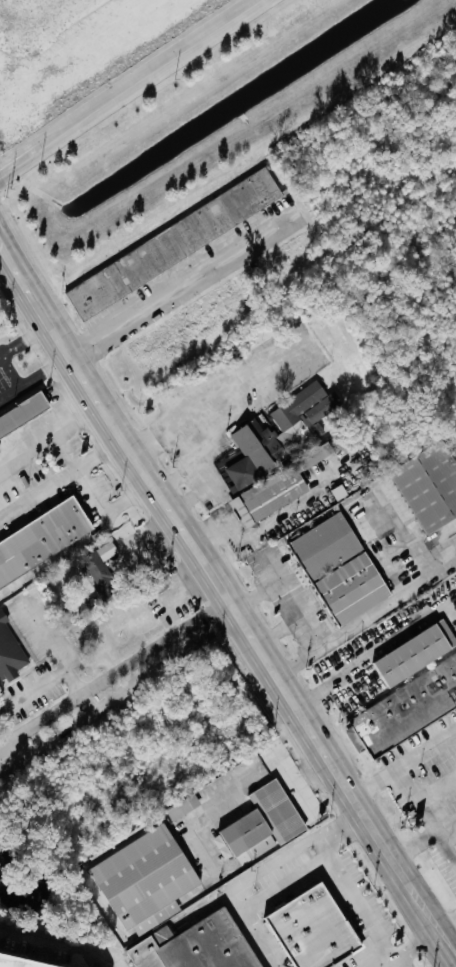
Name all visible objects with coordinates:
road: (253, 1)
road: (30, 18)
road: (128, 85)
building: (173, 242)
road: (178, 285)
road: (27, 339)
road: (10, 370)
road: (240, 374)
road: (37, 375)
building: (23, 413)
road: (227, 424)
road: (50, 428)
building: (275, 434)
road: (176, 442)
building: (0, 454)
road: (82, 469)
road: (63, 474)
building: (428, 484)
building: (275, 488)
road: (215, 539)
building: (43, 540)
road: (83, 541)
building: (100, 562)
building: (337, 569)
road: (219, 583)
road: (361, 623)
building: (10, 650)
road: (55, 652)
building: (410, 653)
road: (351, 663)
road: (117, 682)
road: (33, 688)
building: (405, 704)
road: (405, 766)
road: (299, 781)
road: (307, 797)
road: (418, 802)
road: (213, 804)
building: (184, 806)
building: (258, 820)
road: (438, 830)
road: (423, 836)
building: (137, 875)
road: (269, 881)
road: (363, 907)
building: (304, 928)
road: (448, 928)
road: (438, 932)
road: (416, 943)
road: (60, 944)
building: (193, 945)
road: (448, 947)
road: (384, 961)
building: (17, 963)

